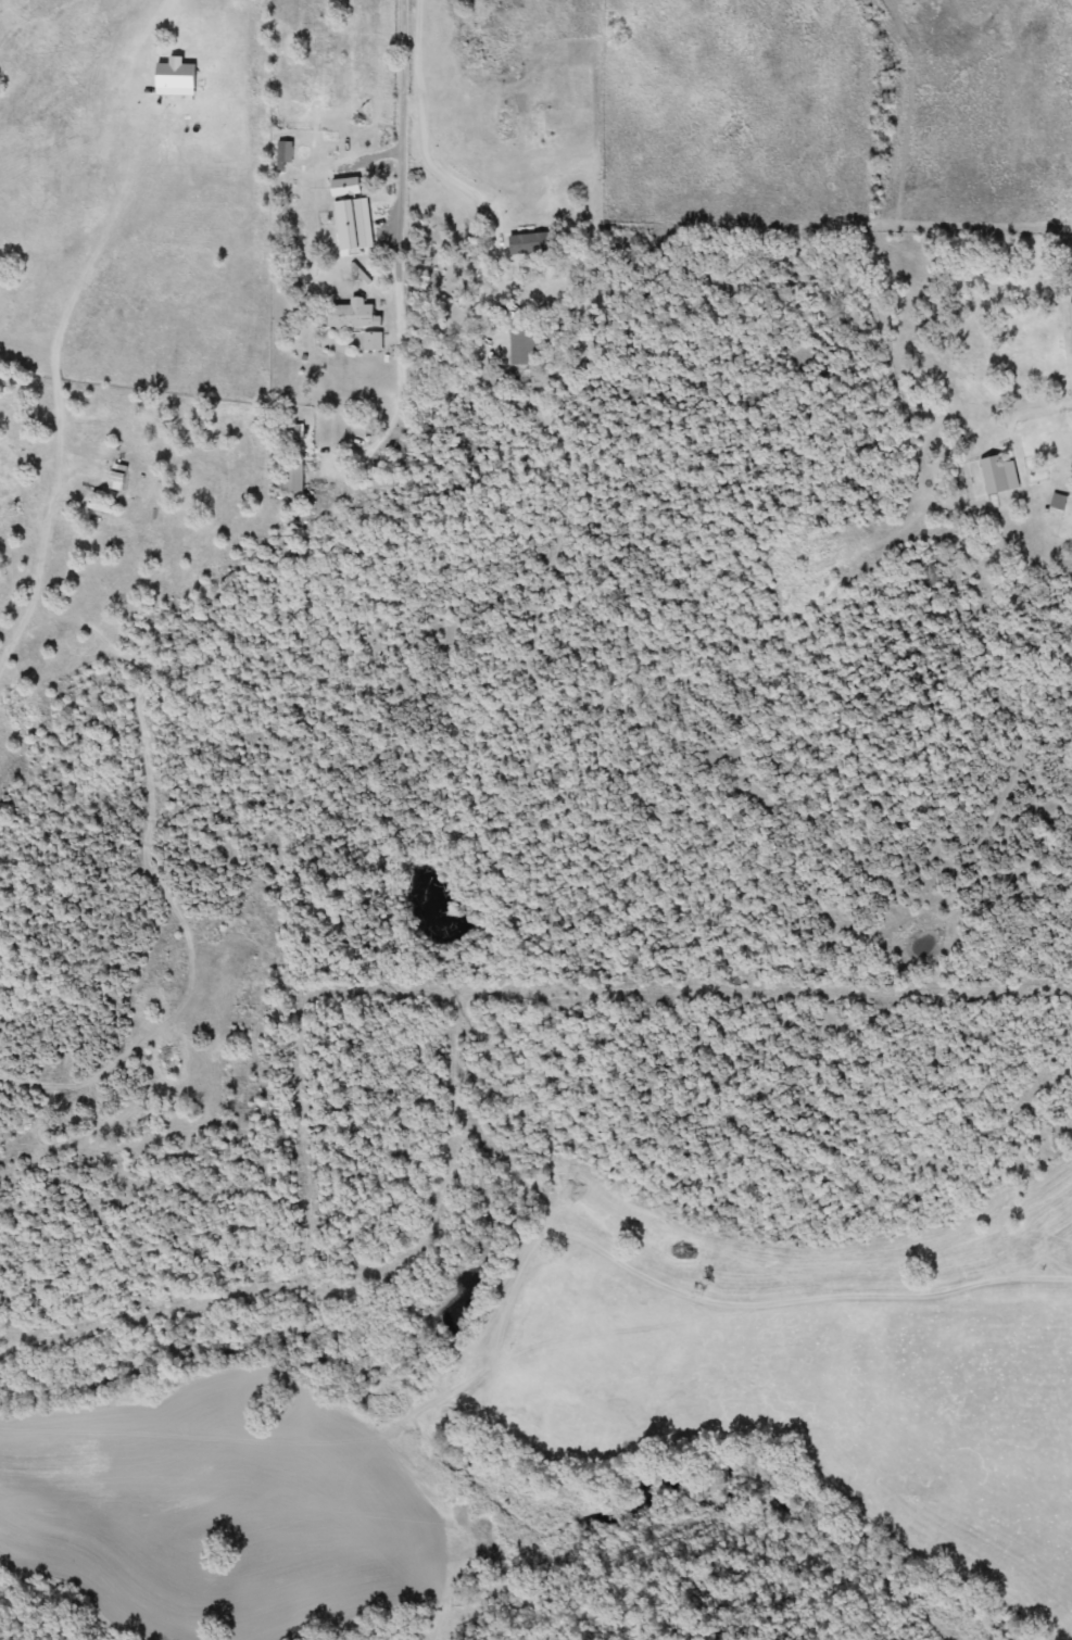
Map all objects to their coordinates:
road: (179, 18)
building: (285, 155)
road: (403, 224)
building: (532, 243)
building: (354, 314)
building: (1069, 327)
building: (375, 341)
building: (521, 348)
road: (530, 395)
building: (122, 478)
building: (996, 479)
building: (297, 480)

